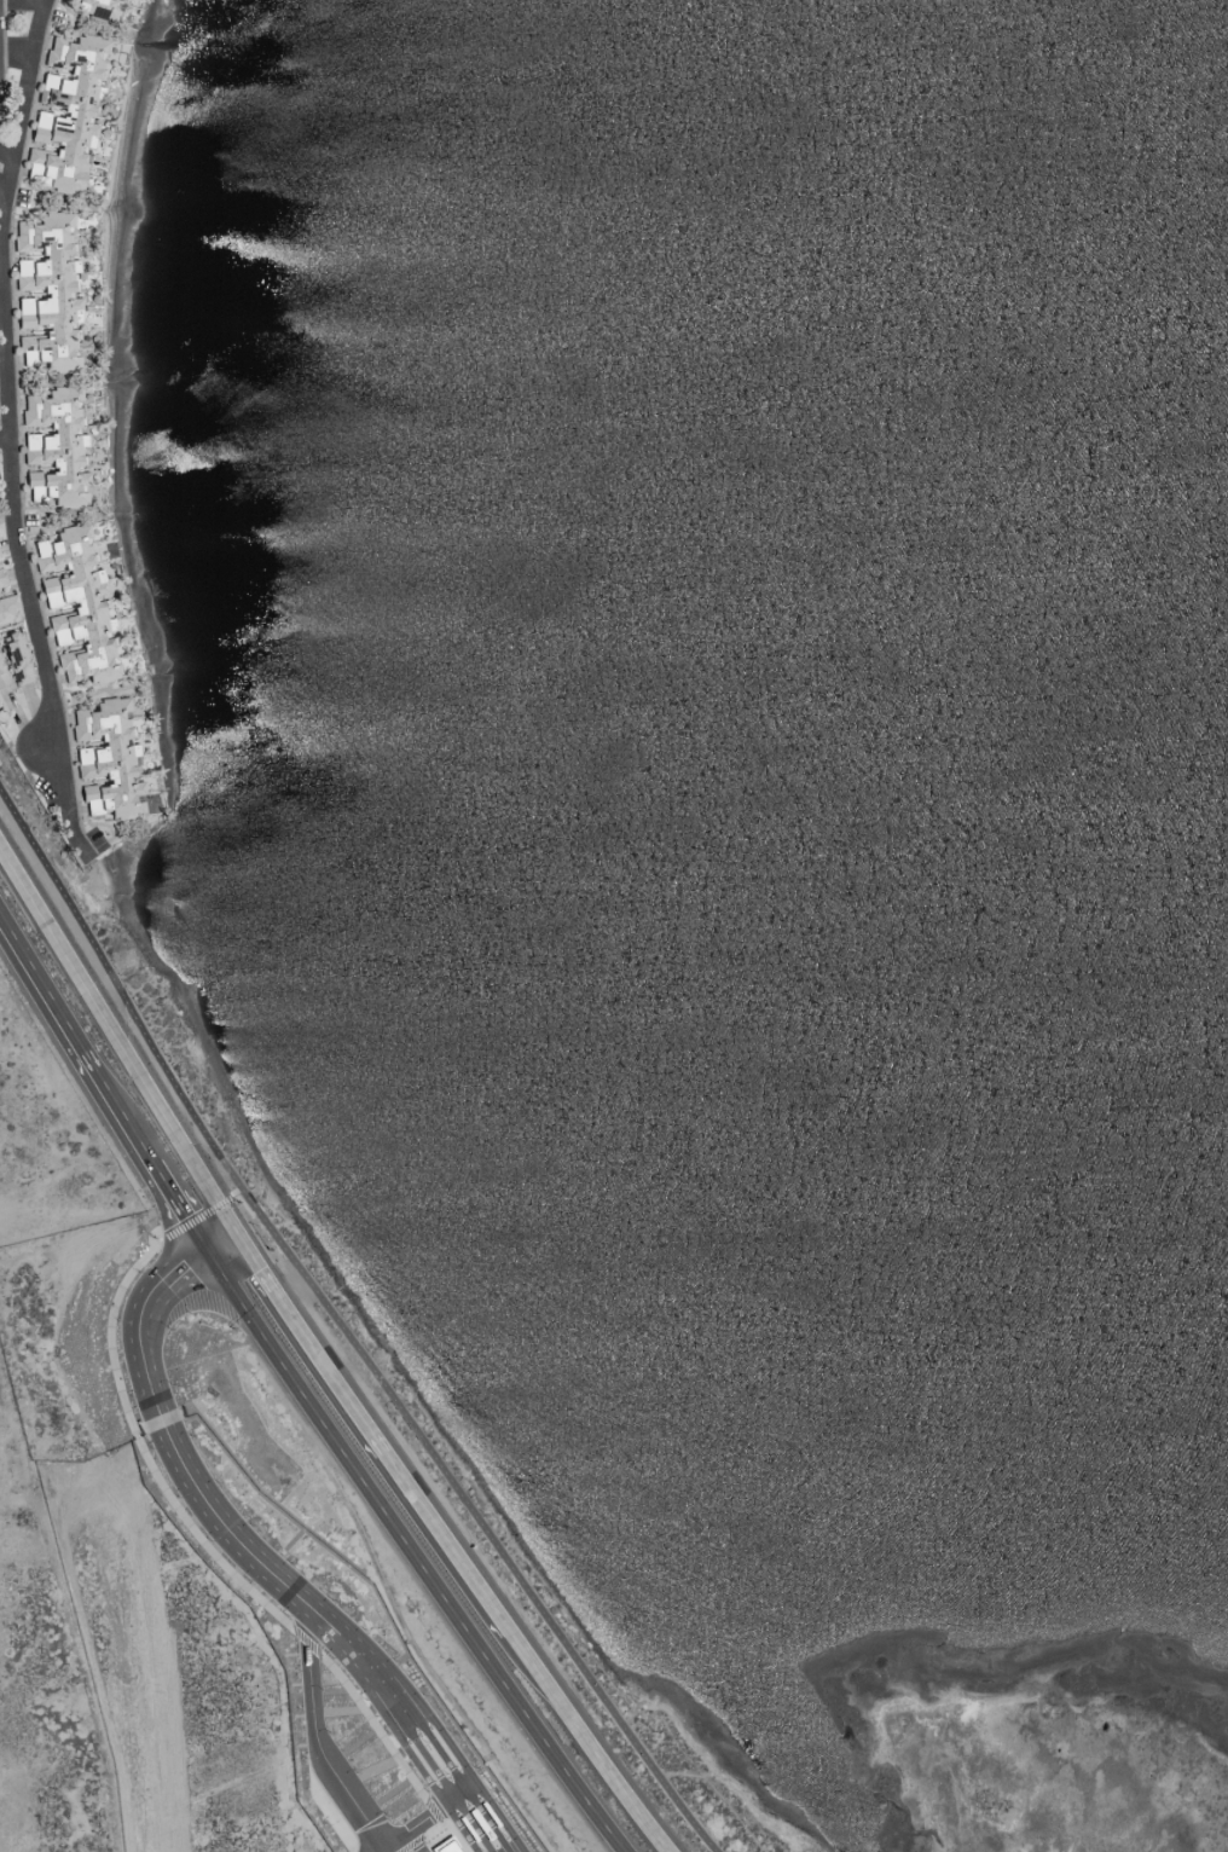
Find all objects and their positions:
building: (91, 6)
building: (64, 110)
road: (13, 115)
road: (6, 190)
road: (4, 283)
building: (45, 291)
road: (12, 432)
road: (6, 458)
building: (1, 581)
building: (73, 602)
building: (7, 609)
building: (58, 637)
building: (15, 656)
building: (1, 676)
building: (104, 759)
road: (76, 1035)
road: (117, 1038)
road: (181, 1205)
road: (222, 1242)
road: (189, 1263)
road: (341, 1329)
road: (373, 1430)
road: (415, 1552)
road: (283, 1593)
road: (313, 1741)
road: (589, 1741)
park: (958, 1783)
building: (441, 1846)

